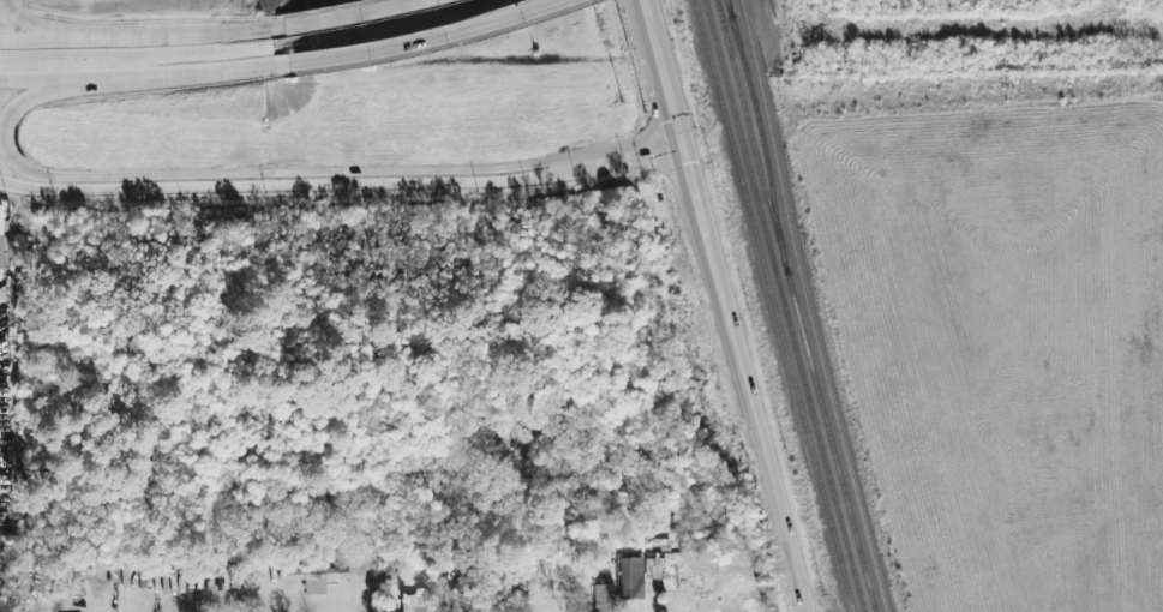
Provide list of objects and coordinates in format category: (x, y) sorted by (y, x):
road: (771, 10)
road: (340, 13)
road: (42, 26)
road: (174, 34)
road: (42, 41)
road: (420, 41)
railway: (743, 60)
road: (137, 77)
traffic signals: (681, 114)
railway: (750, 125)
traffic signals: (652, 154)
road: (622, 162)
traffic signals: (693, 162)
road: (266, 175)
road: (277, 185)
building: (1, 250)
railway: (775, 305)
railway: (784, 305)
road: (730, 306)
railway: (797, 307)
building: (664, 570)
building: (631, 576)
building: (604, 598)
building: (413, 602)
building: (463, 602)

